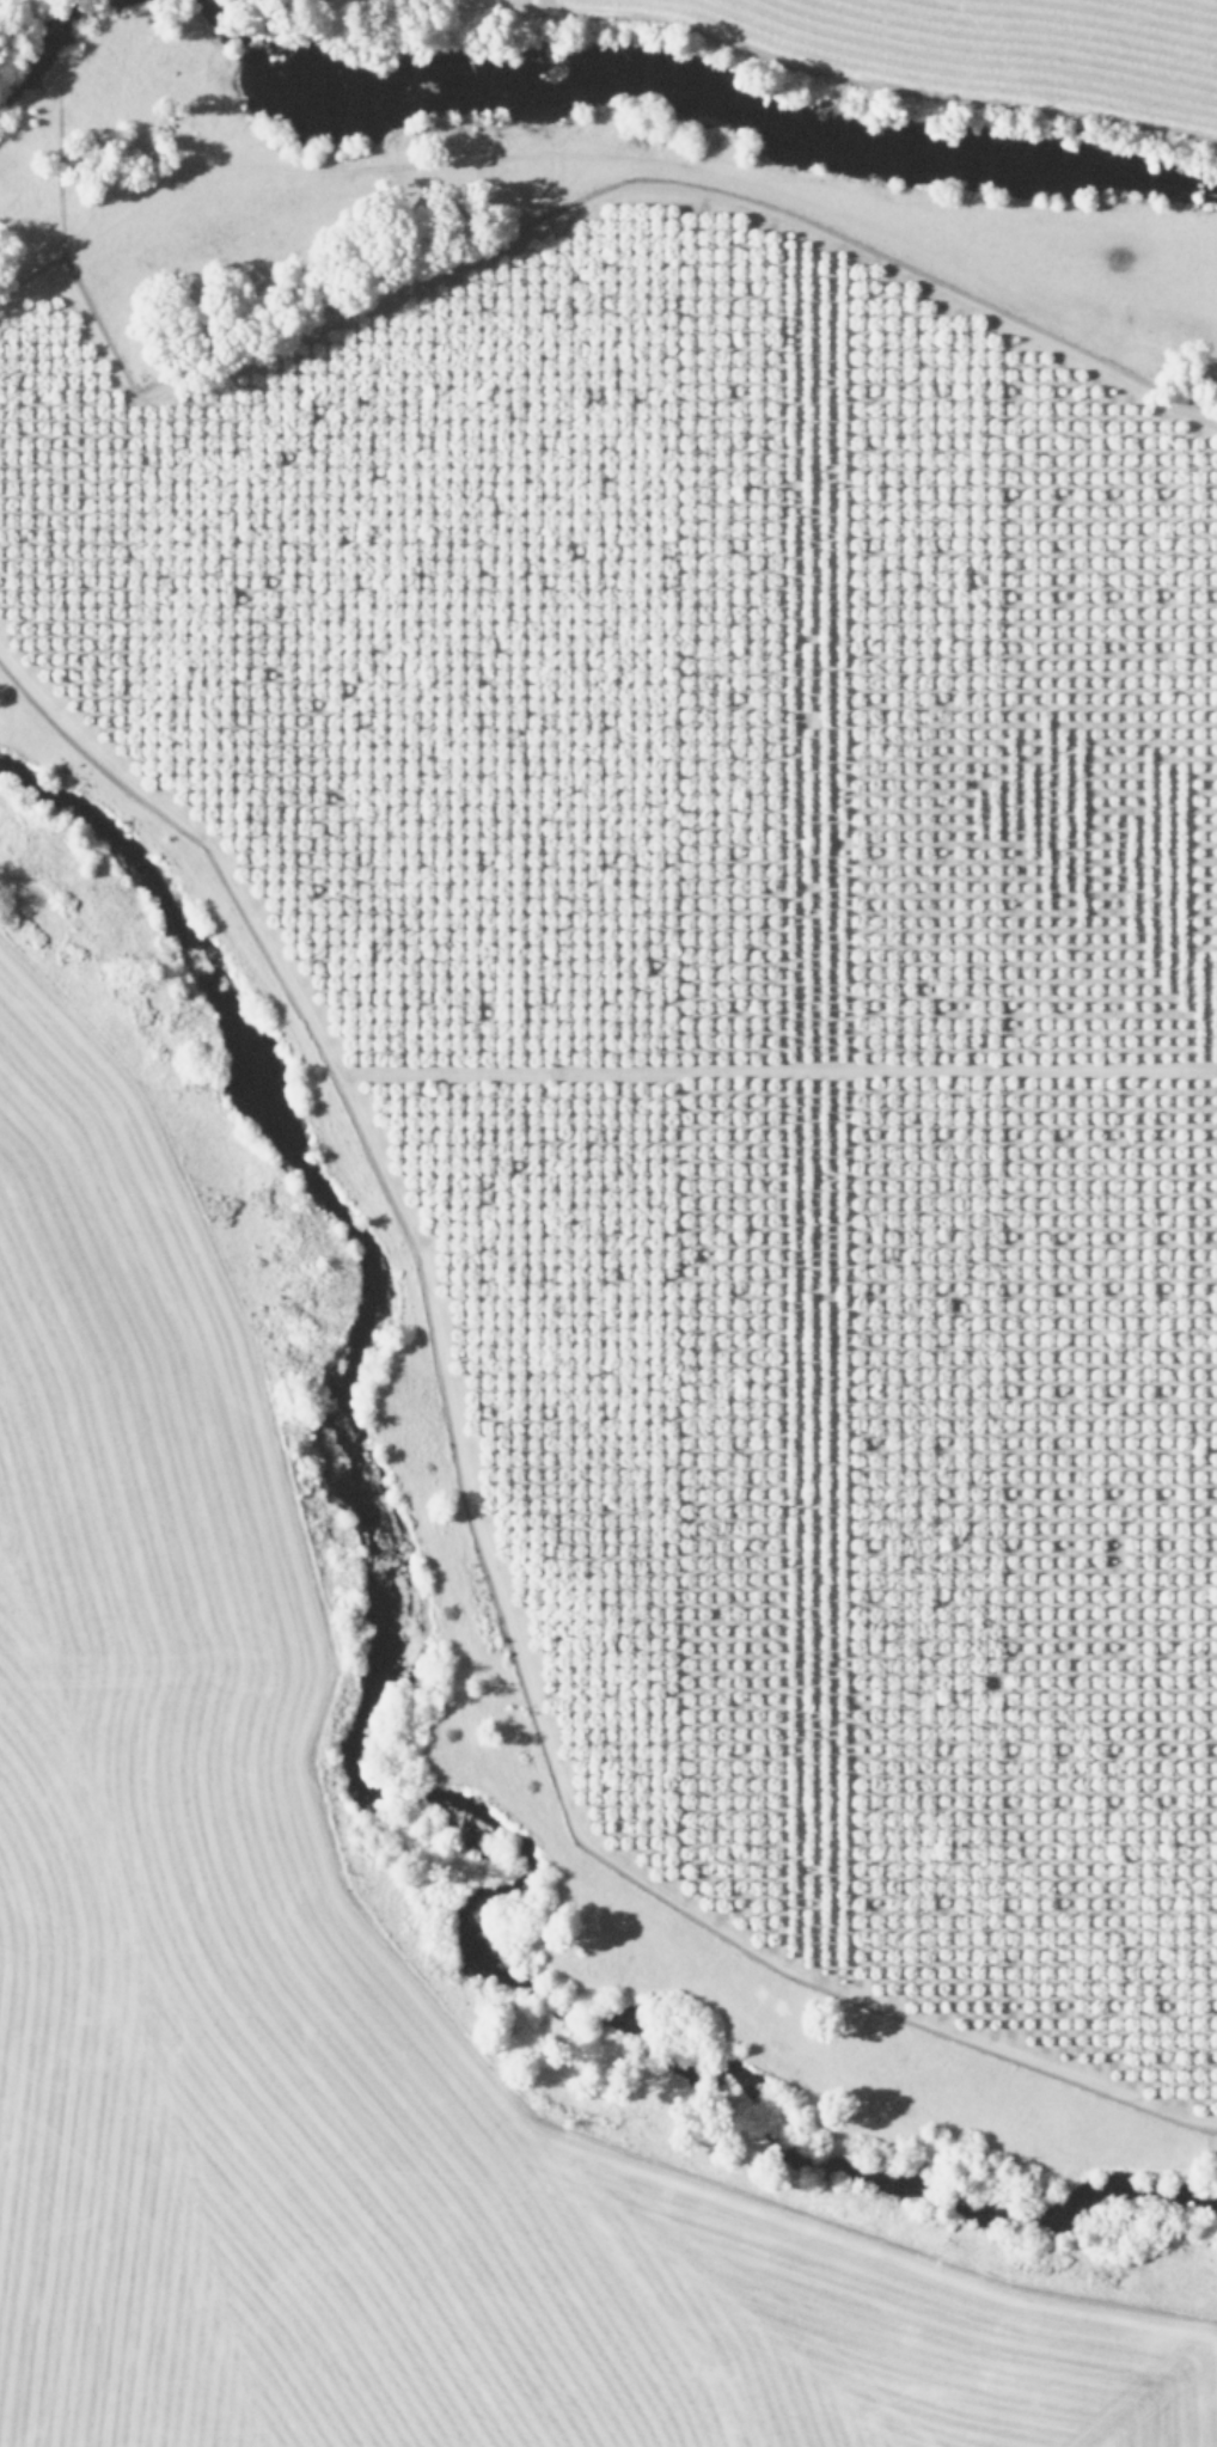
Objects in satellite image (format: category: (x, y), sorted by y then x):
crop: (981, 44)
crop: (362, 1983)

